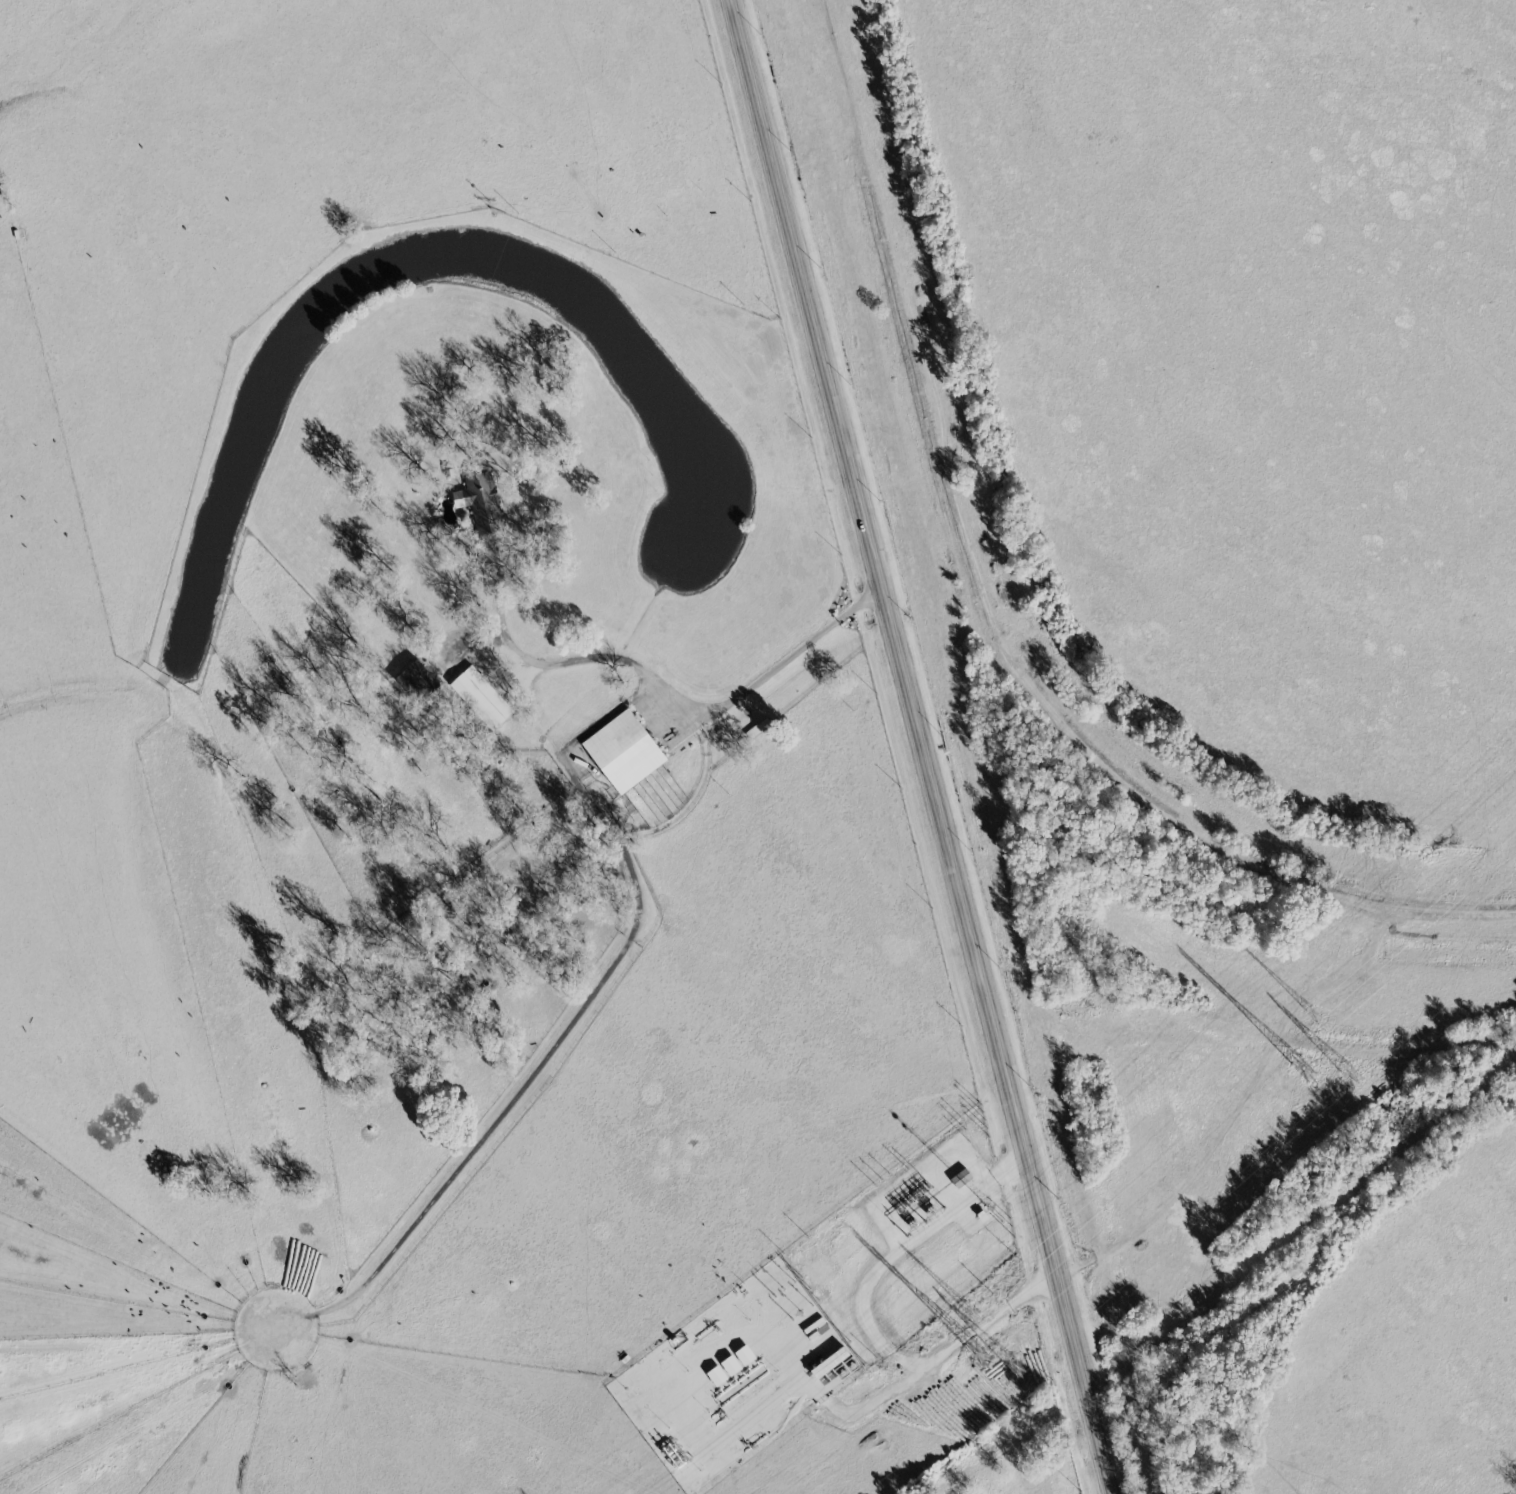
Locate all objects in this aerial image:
railway: (986, 619)
building: (414, 678)
road: (675, 700)
road: (912, 746)
railway: (957, 747)
building: (624, 750)
power tower: (1310, 1017)
power tower: (1302, 1071)
power tower: (1352, 1075)
power substation: (906, 1242)
railway: (1238, 1279)
road: (865, 1315)
power tower: (970, 1315)
power tower: (979, 1352)
building: (831, 1363)
power tower: (1014, 1369)

